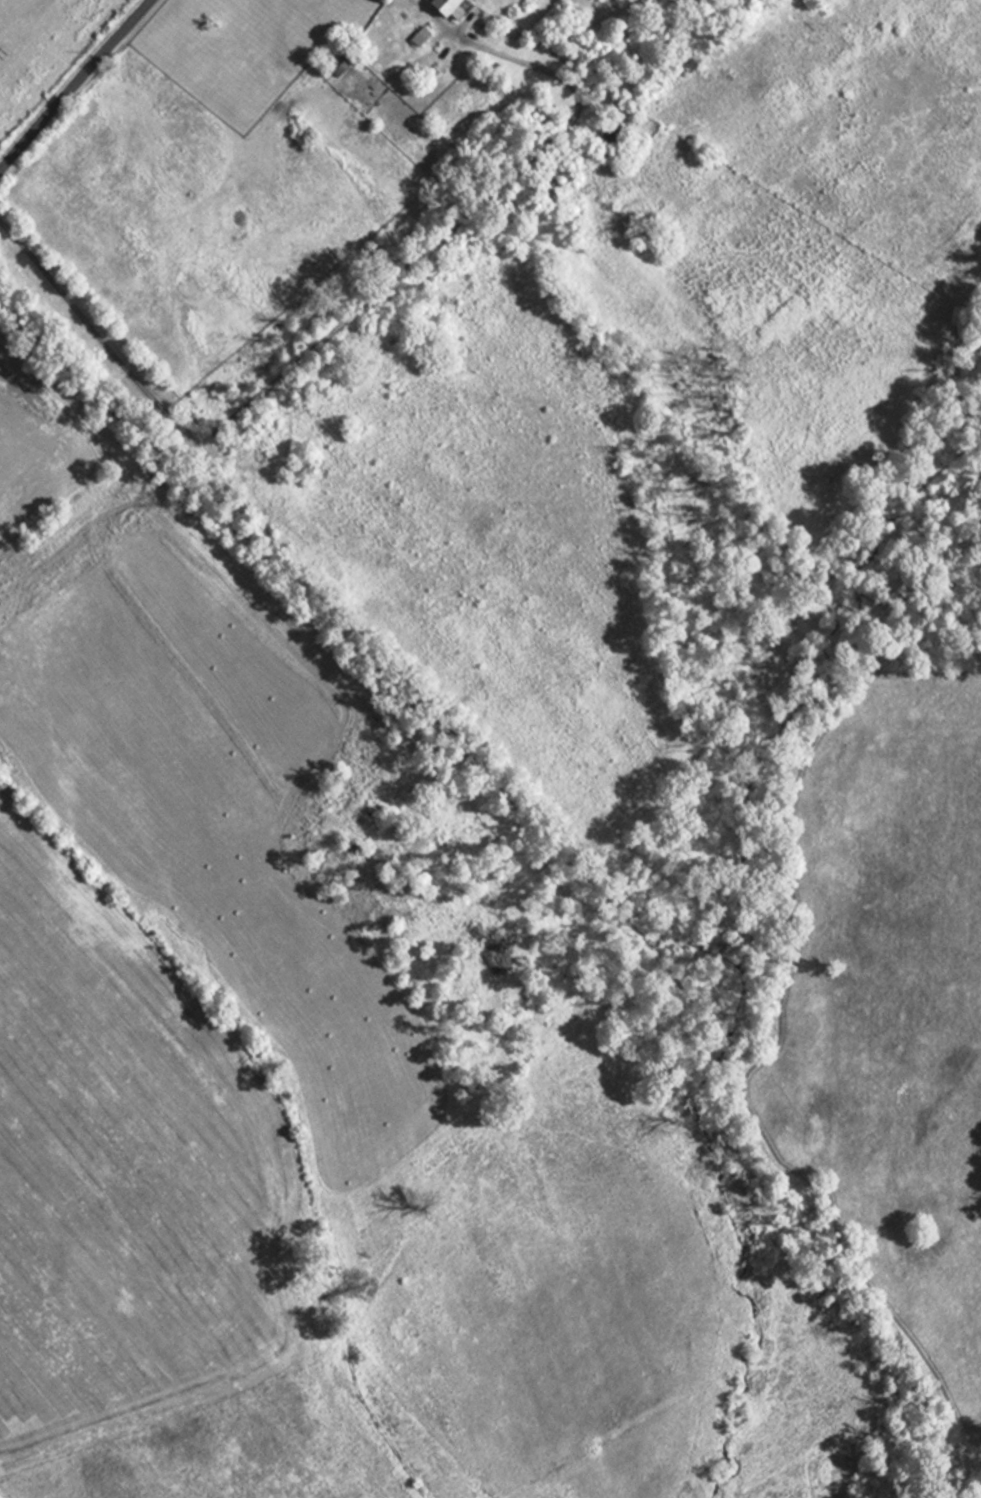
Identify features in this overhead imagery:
building: (442, 8)
building: (415, 38)
building: (335, 64)
road: (73, 83)
building: (607, 141)
road: (335, 327)

